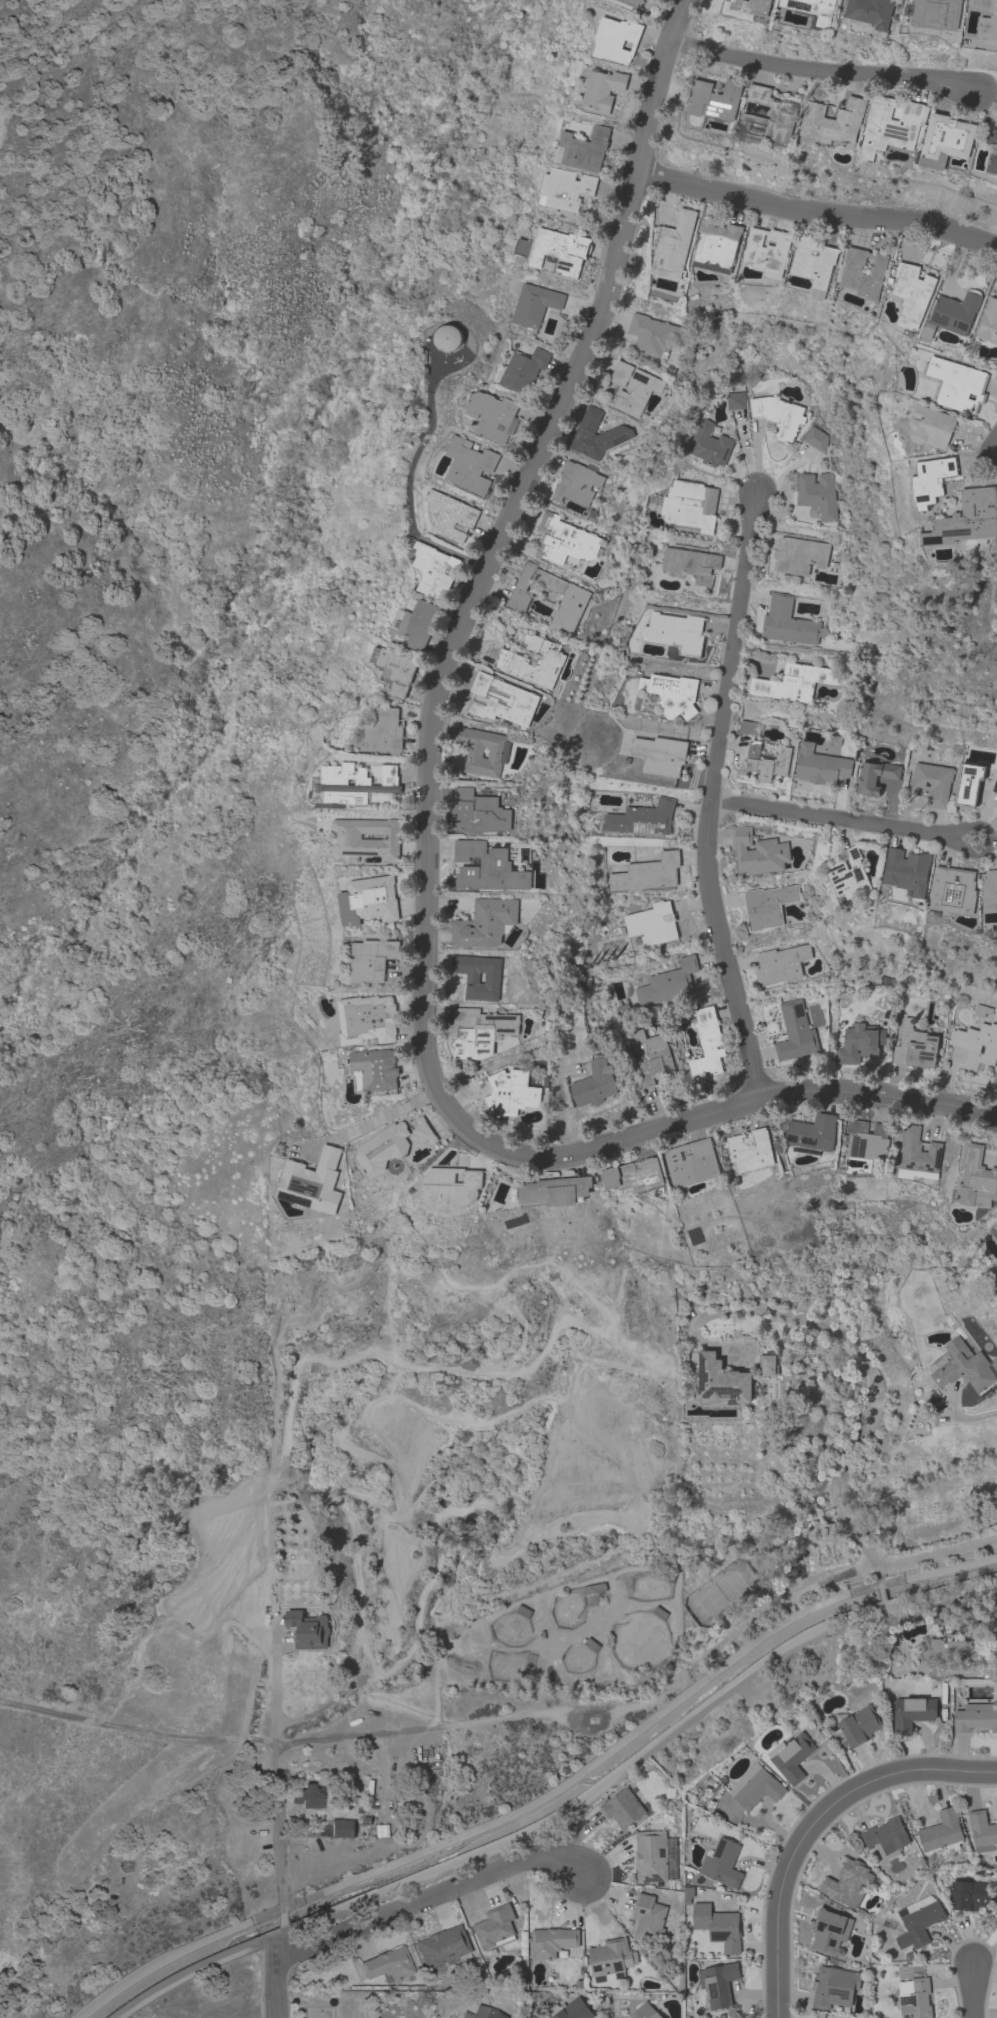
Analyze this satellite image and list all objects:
building: (633, 3)
building: (747, 8)
building: (813, 11)
building: (871, 12)
building: (936, 13)
building: (986, 19)
building: (616, 39)
road: (821, 75)
building: (603, 89)
building: (758, 93)
building: (715, 99)
building: (833, 121)
building: (771, 122)
building: (891, 124)
building: (991, 138)
building: (946, 141)
building: (584, 148)
building: (993, 162)
building: (566, 188)
road: (817, 218)
building: (674, 246)
building: (717, 246)
building: (561, 250)
building: (768, 250)
building: (814, 264)
building: (861, 273)
building: (912, 293)
building: (535, 304)
building: (952, 314)
building: (989, 322)
building: (655, 335)
building: (447, 337)
building: (523, 369)
building: (954, 383)
building: (633, 387)
building: (735, 400)
building: (493, 415)
building: (778, 415)
building: (930, 426)
building: (597, 434)
building: (815, 439)
building: (709, 444)
road: (744, 457)
building: (471, 465)
building: (929, 480)
building: (577, 483)
building: (817, 494)
building: (690, 505)
building: (450, 515)
building: (966, 518)
building: (565, 540)
building: (800, 555)
building: (690, 563)
building: (434, 570)
building: (574, 599)
building: (789, 622)
building: (419, 623)
building: (675, 632)
building: (511, 660)
building: (395, 669)
building: (794, 682)
building: (672, 693)
building: (519, 699)
building: (748, 727)
building: (384, 732)
building: (498, 752)
building: (660, 755)
building: (767, 761)
building: (820, 765)
building: (875, 776)
building: (334, 780)
building: (932, 782)
building: (968, 783)
road: (710, 803)
building: (477, 811)
building: (642, 818)
road: (430, 821)
road: (844, 823)
building: (367, 840)
building: (758, 851)
building: (487, 868)
building: (908, 872)
building: (647, 873)
building: (849, 874)
building: (954, 890)
building: (990, 890)
building: (368, 900)
building: (767, 905)
building: (485, 922)
building: (652, 923)
building: (371, 959)
building: (780, 964)
building: (478, 976)
building: (667, 983)
building: (981, 1010)
building: (367, 1019)
building: (795, 1031)
building: (479, 1032)
building: (705, 1040)
building: (859, 1042)
building: (977, 1044)
building: (915, 1046)
building: (650, 1056)
building: (374, 1068)
building: (595, 1084)
building: (511, 1091)
road: (364, 1125)
building: (423, 1132)
building: (813, 1132)
building: (867, 1140)
building: (383, 1148)
building: (750, 1150)
building: (918, 1151)
building: (692, 1163)
building: (635, 1175)
building: (976, 1178)
building: (313, 1182)
building: (450, 1188)
building: (556, 1190)
building: (994, 1230)
building: (693, 1235)
building: (769, 1364)
building: (964, 1366)
building: (722, 1381)
road: (959, 1414)
road: (864, 1426)
building: (824, 1531)
building: (593, 1588)
building: (523, 1611)
building: (659, 1612)
building: (308, 1629)
building: (590, 1643)
building: (948, 1651)
building: (912, 1713)
building: (976, 1716)
building: (857, 1727)
road: (330, 1738)
building: (791, 1757)
road: (896, 1773)
road: (275, 1781)
building: (755, 1786)
building: (307, 1797)
building: (622, 1807)
road: (561, 1809)
building: (342, 1829)
building: (942, 1831)
building: (982, 1831)
building: (886, 1837)
building: (654, 1856)
building: (722, 1863)
building: (847, 1883)
building: (688, 1894)
building: (969, 1895)
road: (429, 1896)
building: (650, 1917)
road: (778, 1917)
road: (281, 1920)
building: (918, 1921)
building: (495, 1927)
building: (717, 1928)
building: (830, 1931)
building: (552, 1941)
building: (442, 1947)
building: (611, 1959)
building: (388, 1965)
road: (276, 1972)
building: (358, 1973)
building: (718, 1983)
building: (834, 1986)
road: (973, 1991)
building: (916, 2000)
building: (570, 2010)
building: (644, 2011)
building: (474, 2016)

